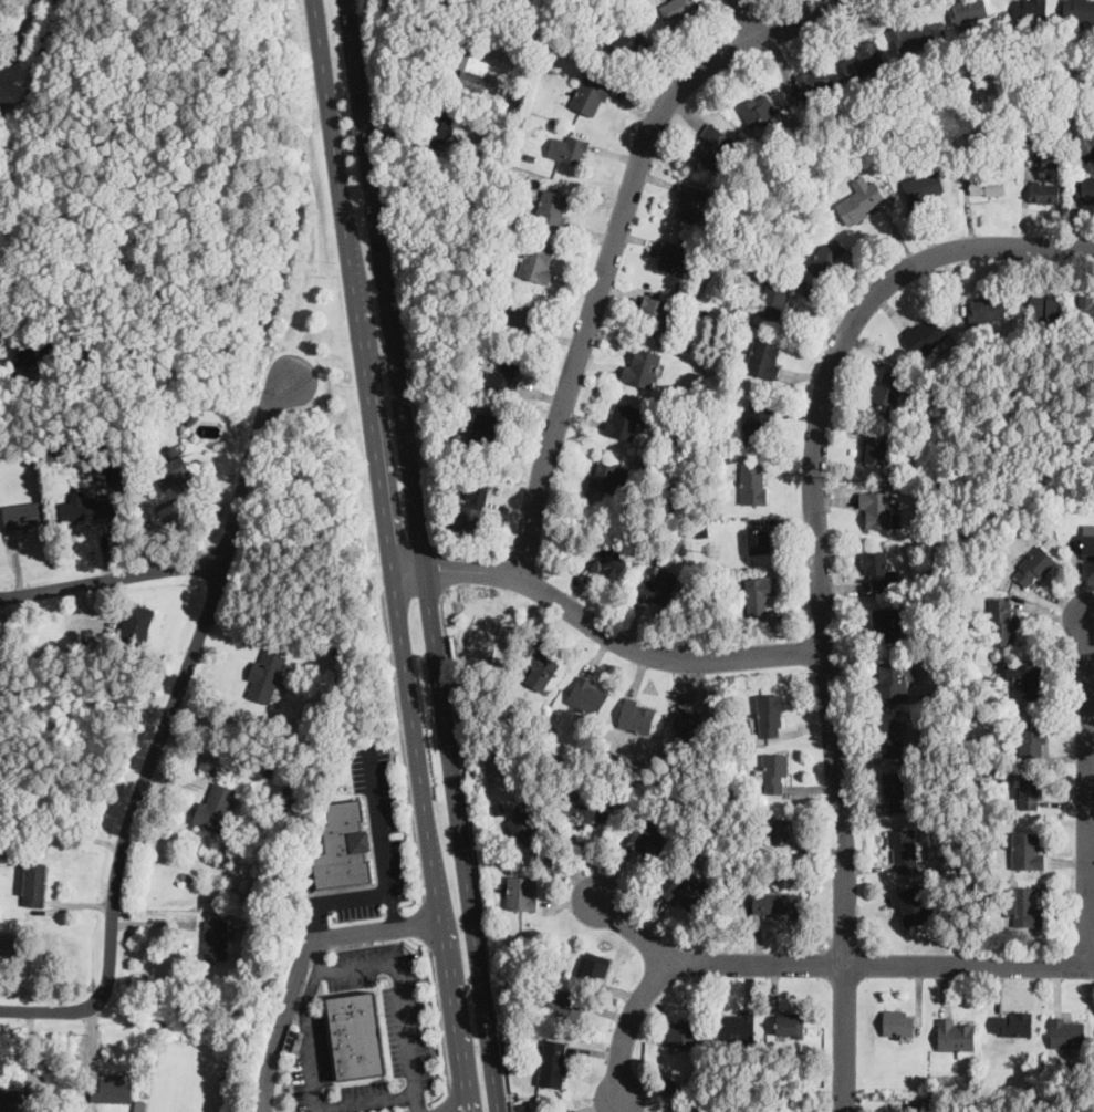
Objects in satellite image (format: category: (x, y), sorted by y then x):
road: (389, 3)
building: (1031, 8)
building: (678, 10)
building: (967, 10)
building: (1079, 10)
road: (744, 20)
building: (914, 37)
building: (629, 40)
road: (39, 49)
building: (863, 60)
building: (471, 65)
building: (812, 80)
building: (590, 95)
building: (758, 108)
building: (442, 125)
building: (713, 145)
building: (569, 147)
building: (1051, 157)
building: (987, 183)
building: (925, 184)
building: (1085, 188)
building: (1045, 190)
building: (861, 198)
building: (688, 200)
building: (552, 206)
road: (613, 236)
building: (826, 256)
building: (675, 257)
building: (536, 261)
road: (396, 276)
building: (773, 298)
building: (986, 306)
building: (1048, 306)
building: (1085, 309)
building: (519, 313)
building: (655, 313)
building: (926, 333)
building: (764, 356)
building: (642, 365)
building: (503, 371)
building: (888, 387)
building: (624, 419)
building: (759, 419)
building: (487, 426)
building: (876, 449)
building: (177, 461)
building: (609, 475)
building: (752, 481)
building: (473, 505)
building: (88, 508)
building: (877, 508)
building: (23, 515)
building: (758, 539)
building: (1087, 540)
road: (392, 555)
road: (423, 555)
building: (608, 559)
building: (1034, 565)
building: (879, 568)
road: (440, 571)
road: (108, 578)
road: (817, 579)
building: (659, 586)
building: (757, 594)
building: (137, 621)
building: (1002, 621)
building: (887, 623)
road: (603, 631)
building: (542, 667)
building: (264, 674)
building: (892, 679)
building: (1029, 680)
road: (178, 685)
building: (587, 694)
building: (770, 715)
building: (638, 716)
building: (687, 724)
building: (890, 736)
building: (1032, 736)
road: (402, 744)
building: (774, 771)
building: (896, 790)
building: (1030, 791)
road: (1085, 792)
building: (217, 806)
building: (592, 807)
building: (529, 822)
building: (781, 830)
road: (383, 836)
building: (649, 838)
building: (343, 845)
road: (473, 848)
building: (905, 849)
building: (1029, 849)
building: (32, 882)
building: (521, 892)
building: (686, 892)
road: (352, 896)
building: (911, 904)
building: (775, 905)
building: (1024, 908)
road: (312, 922)
road: (427, 923)
road: (634, 928)
building: (216, 938)
building: (7, 943)
road: (319, 955)
road: (302, 962)
road: (806, 965)
building: (595, 966)
road: (399, 989)
road: (312, 994)
building: (565, 1007)
road: (55, 1010)
road: (440, 1017)
building: (898, 1021)
building: (1012, 1022)
building: (738, 1023)
building: (790, 1023)
building: (683, 1031)
building: (1066, 1031)
building: (356, 1035)
building: (957, 1035)
building: (553, 1062)
building: (113, 1087)
building: (10, 1098)
road: (450, 1099)
road: (417, 1103)
building: (523, 1106)
road: (320, 1110)
road: (317, 1111)

